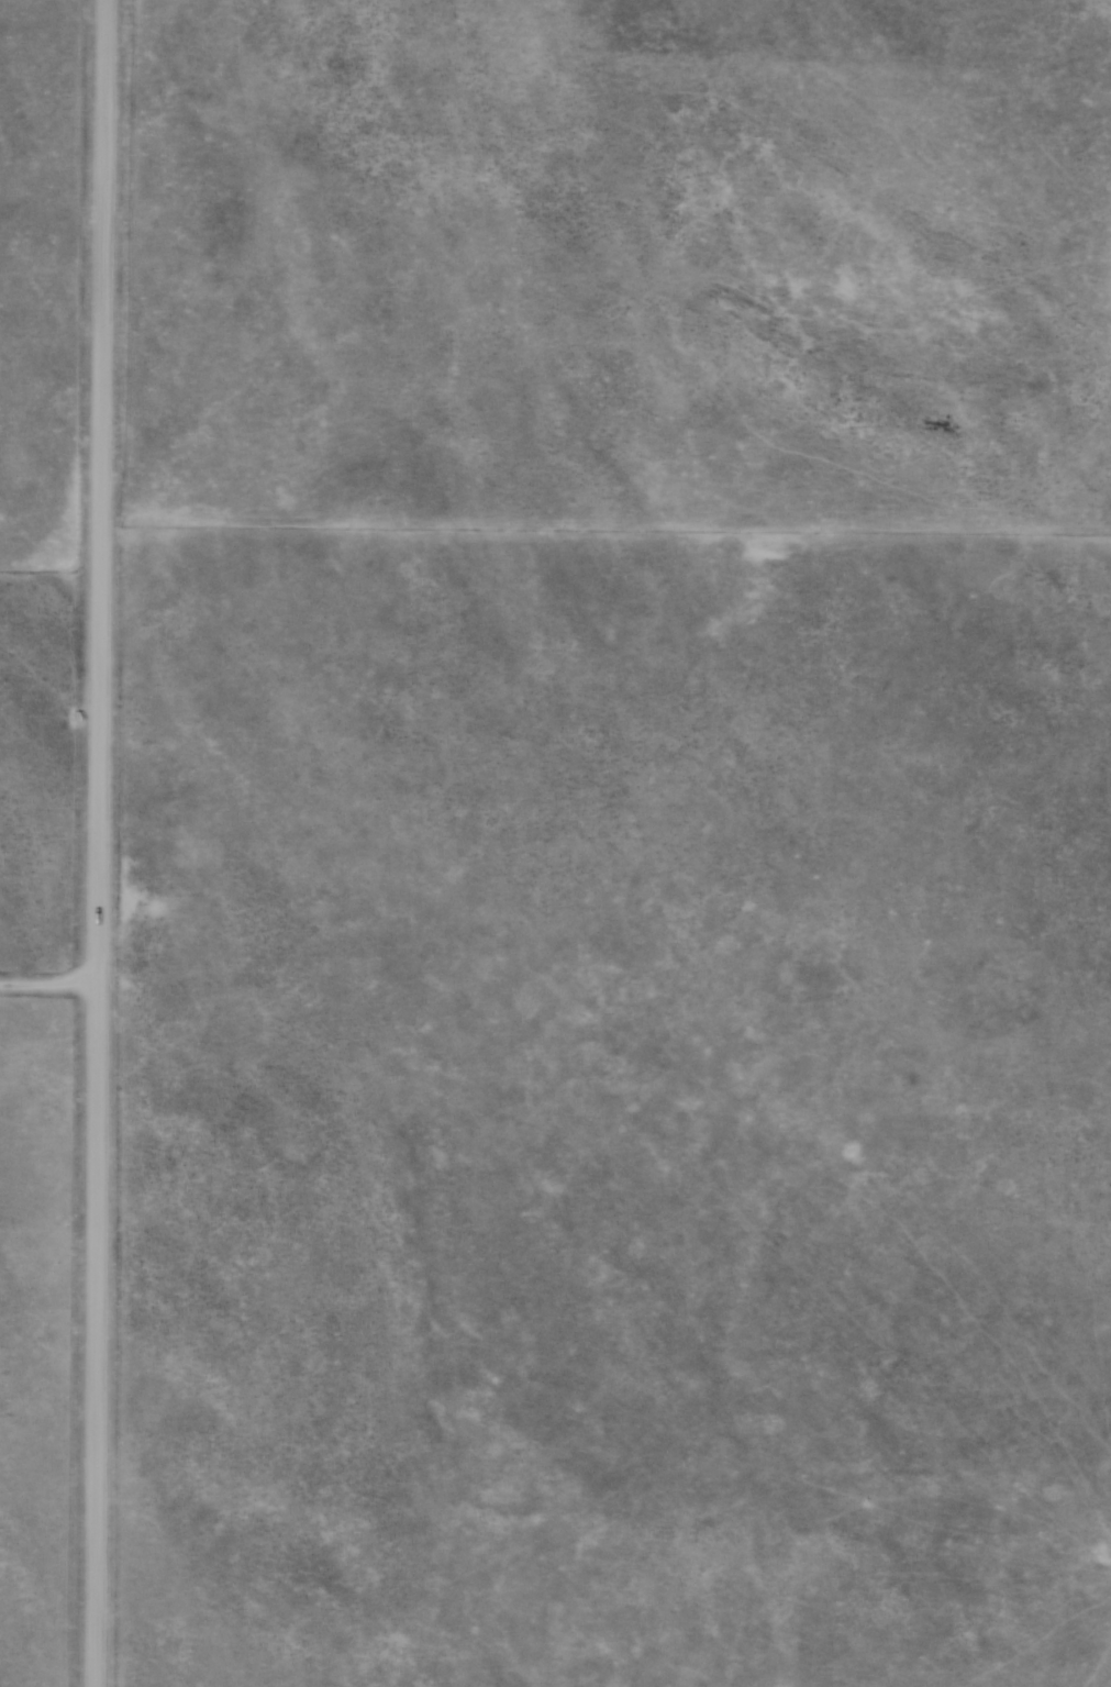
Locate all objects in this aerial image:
road: (99, 843)
road: (48, 985)

